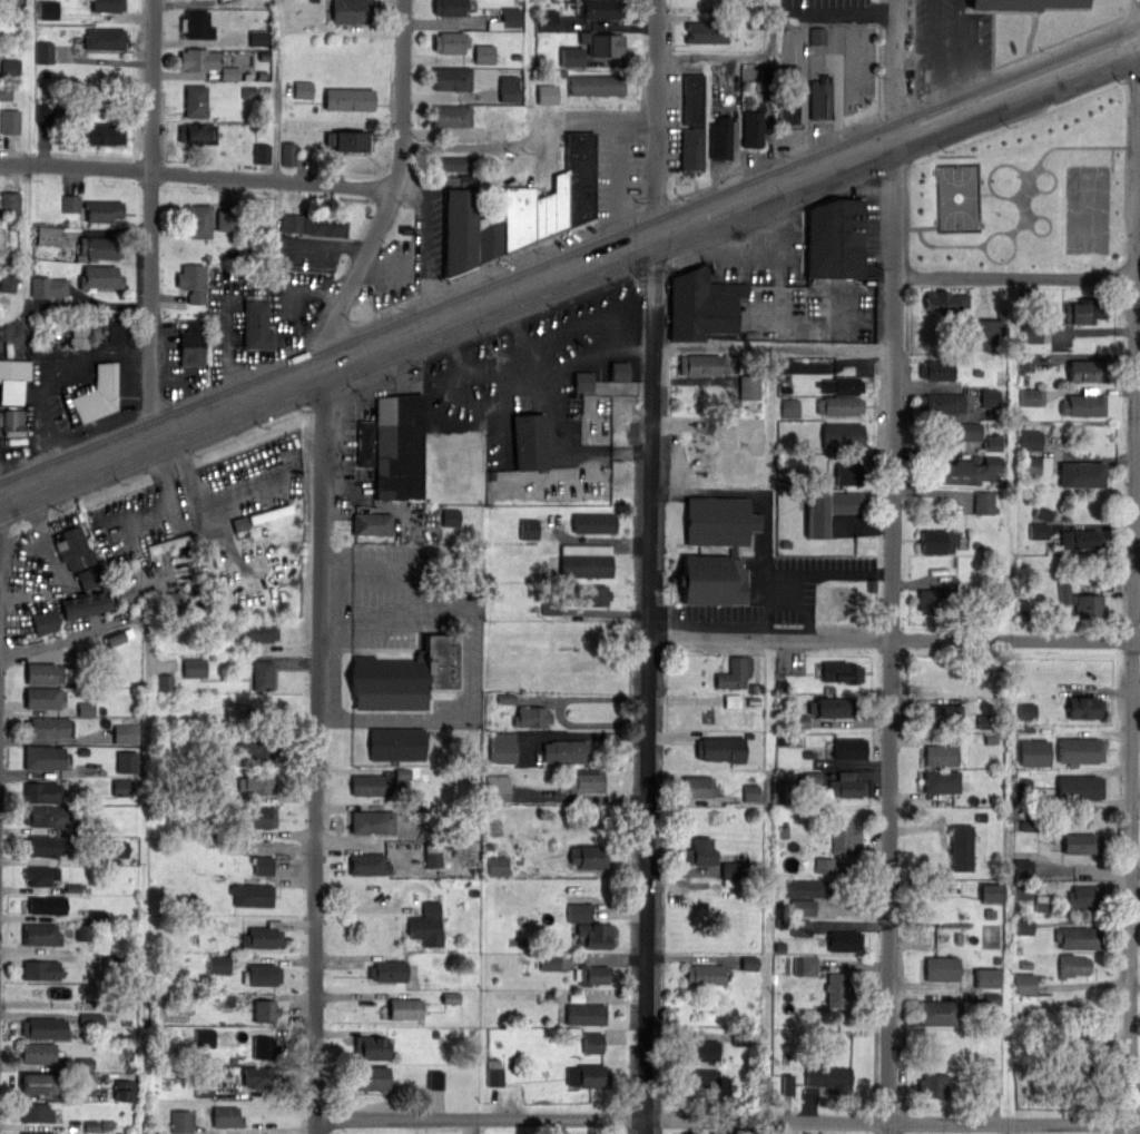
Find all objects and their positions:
building: (1028, 3)
building: (107, 4)
building: (453, 7)
building: (599, 9)
parking lot: (835, 9)
building: (48, 10)
building: (351, 11)
road: (837, 13)
building: (511, 17)
building: (196, 23)
building: (707, 32)
building: (817, 36)
building: (104, 38)
building: (451, 41)
building: (605, 43)
parking lot: (951, 43)
building: (45, 52)
building: (484, 53)
building: (571, 56)
road: (737, 57)
road: (960, 58)
building: (198, 59)
road: (934, 63)
building: (9, 67)
parking lot: (844, 70)
building: (453, 79)
building: (597, 86)
building: (508, 88)
building: (303, 89)
road: (838, 89)
building: (547, 93)
building: (788, 96)
building: (822, 98)
building: (350, 99)
road: (806, 99)
building: (195, 100)
building: (450, 116)
building: (10, 121)
road: (944, 121)
building: (692, 124)
building: (753, 126)
road: (738, 131)
building: (99, 132)
building: (197, 132)
road: (532, 136)
building: (721, 138)
building: (353, 140)
building: (262, 154)
building: (288, 154)
building: (455, 162)
road: (198, 172)
building: (579, 176)
road: (618, 185)
road: (394, 191)
park: (1029, 194)
building: (70, 203)
building: (10, 205)
building: (551, 207)
building: (102, 210)
building: (518, 217)
parking lot: (617, 217)
building: (226, 219)
road: (705, 219)
road: (151, 220)
building: (198, 220)
building: (313, 224)
building: (405, 229)
building: (459, 230)
building: (490, 236)
traffic signals: (660, 237)
building: (49, 238)
building: (836, 239)
road: (1139, 246)
road: (324, 247)
building: (100, 248)
parking lot: (302, 252)
parking lot: (754, 253)
road: (611, 256)
road: (734, 256)
building: (79, 258)
parking lot: (396, 270)
road: (1016, 275)
building: (99, 277)
road: (464, 280)
building: (191, 282)
building: (7, 284)
building: (47, 286)
road: (257, 287)
road: (325, 296)
building: (949, 303)
building: (701, 305)
building: (1084, 310)
parking lot: (807, 312)
parking lot: (262, 317)
road: (828, 322)
building: (257, 323)
building: (118, 329)
road: (518, 331)
building: (1031, 333)
building: (79, 334)
building: (985, 334)
building: (191, 344)
road: (777, 347)
road: (170, 353)
road: (255, 355)
parking lot: (181, 357)
road: (60, 361)
building: (1026, 362)
road: (531, 365)
building: (702, 365)
building: (786, 365)
building: (625, 369)
building: (937, 369)
building: (1087, 371)
building: (13, 379)
road: (175, 379)
parking lot: (87, 382)
building: (583, 382)
building: (842, 385)
road: (125, 388)
road: (281, 388)
road: (370, 388)
building: (747, 389)
parking lot: (539, 392)
building: (97, 395)
building: (1032, 397)
building: (987, 398)
building: (941, 403)
building: (1084, 404)
building: (839, 405)
building: (789, 407)
road: (500, 416)
building: (605, 421)
building: (13, 423)
road: (89, 427)
parking lot: (364, 430)
building: (964, 432)
building: (842, 435)
building: (1030, 440)
building: (530, 441)
building: (993, 442)
building: (365, 443)
building: (397, 446)
road: (558, 455)
road: (340, 457)
building: (1038, 465)
building: (967, 471)
building: (848, 473)
building: (1082, 474)
parking lot: (246, 487)
road: (531, 491)
road: (213, 494)
building: (984, 502)
building: (828, 509)
building: (269, 513)
building: (451, 516)
road: (135, 522)
building: (239, 523)
building: (372, 523)
building: (593, 523)
building: (529, 529)
road: (41, 531)
building: (1039, 531)
building: (1081, 538)
building: (937, 541)
building: (168, 544)
parking lot: (147, 548)
building: (73, 549)
building: (733, 551)
parking lot: (56, 553)
road: (766, 554)
building: (586, 560)
road: (652, 566)
road: (894, 566)
building: (462, 568)
road: (372, 569)
building: (89, 576)
parking lot: (770, 583)
building: (126, 592)
building: (1063, 592)
building: (592, 594)
road: (28, 595)
building: (933, 600)
building: (171, 601)
building: (1088, 601)
building: (83, 604)
building: (553, 607)
parking lot: (53, 611)
building: (45, 621)
road: (399, 621)
road: (736, 622)
building: (257, 631)
road: (896, 638)
road: (1134, 639)
parking lot: (412, 641)
building: (194, 667)
building: (842, 671)
building: (735, 672)
building: (47, 673)
building: (263, 674)
building: (403, 676)
building: (165, 681)
building: (45, 697)
building: (731, 700)
road: (465, 707)
building: (833, 707)
building: (1084, 707)
building: (85, 708)
building: (1026, 711)
building: (942, 713)
building: (532, 716)
building: (985, 720)
building: (798, 721)
building: (48, 727)
building: (121, 732)
building: (396, 743)
building: (257, 747)
building: (501, 747)
building: (719, 748)
building: (849, 748)
building: (1080, 749)
building: (564, 751)
road: (320, 752)
building: (1033, 752)
building: (940, 755)
building: (43, 757)
building: (127, 761)
building: (813, 777)
building: (584, 780)
building: (938, 781)
building: (255, 782)
building: (371, 785)
building: (846, 785)
building: (698, 786)
building: (121, 787)
building: (497, 787)
building: (1023, 787)
building: (1080, 787)
building: (41, 792)
building: (750, 792)
building: (47, 816)
building: (261, 817)
building: (360, 821)
building: (1029, 825)
building: (845, 837)
building: (1079, 842)
building: (45, 846)
building: (961, 847)
building: (116, 848)
building: (701, 851)
building: (433, 855)
building: (589, 856)
building: (263, 864)
building: (367, 864)
building: (497, 864)
building: (824, 865)
building: (1022, 868)
building: (730, 869)
building: (40, 875)
building: (72, 887)
building: (803, 889)
building: (1022, 890)
building: (991, 893)
building: (252, 895)
building: (1084, 896)
building: (47, 905)
building: (803, 906)
building: (579, 911)
building: (97, 915)
building: (425, 925)
building: (1024, 927)
building: (800, 928)
building: (83, 931)
building: (40, 934)
building: (594, 935)
building: (263, 937)
building: (1077, 937)
building: (844, 940)
building: (111, 962)
building: (549, 962)
building: (749, 963)
building: (218, 964)
building: (805, 965)
building: (1073, 965)
building: (941, 968)
building: (40, 969)
building: (390, 970)
building: (262, 974)
building: (593, 974)
building: (704, 974)
building: (986, 977)
building: (1024, 983)
building: (837, 990)
building: (450, 997)
building: (992, 998)
building: (404, 1008)
building: (265, 1009)
building: (936, 1013)
building: (584, 1014)
building: (90, 1017)
building: (43, 1027)
building: (204, 1037)
building: (592, 1042)
building: (263, 1047)
building: (371, 1047)
building: (701, 1049)
building: (40, 1053)
building: (83, 1063)
building: (494, 1072)
building: (254, 1075)
building: (587, 1076)
building: (370, 1077)
building: (829, 1077)
building: (86, 1078)
building: (435, 1078)
building: (697, 1079)
building: (38, 1083)
building: (787, 1084)
building: (933, 1084)
building: (205, 1087)
building: (125, 1089)
building: (35, 1112)
building: (226, 1116)
road: (727, 1120)
building: (180, 1121)
building: (91, 1125)
building: (37, 1132)

